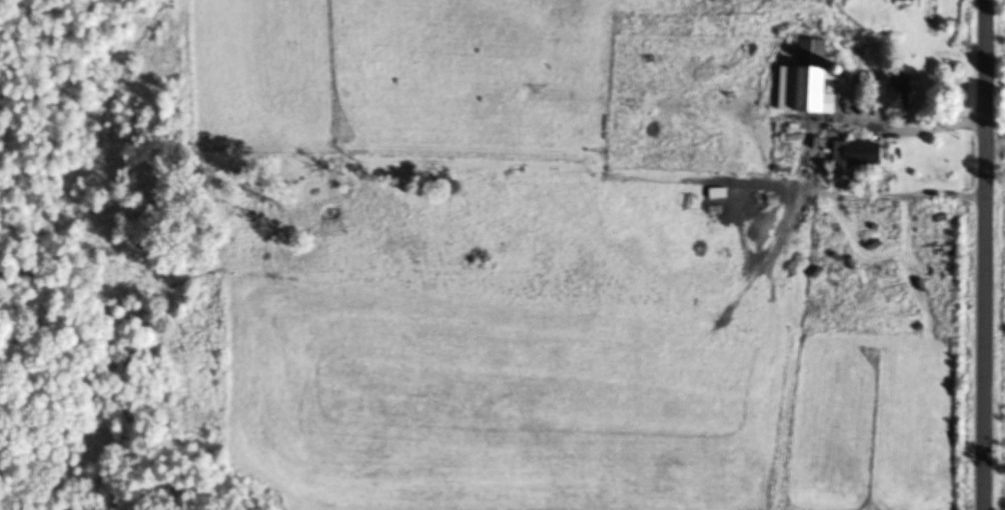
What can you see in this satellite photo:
building: (813, 76)
building: (903, 91)
building: (856, 159)
road: (990, 255)
building: (867, 292)

